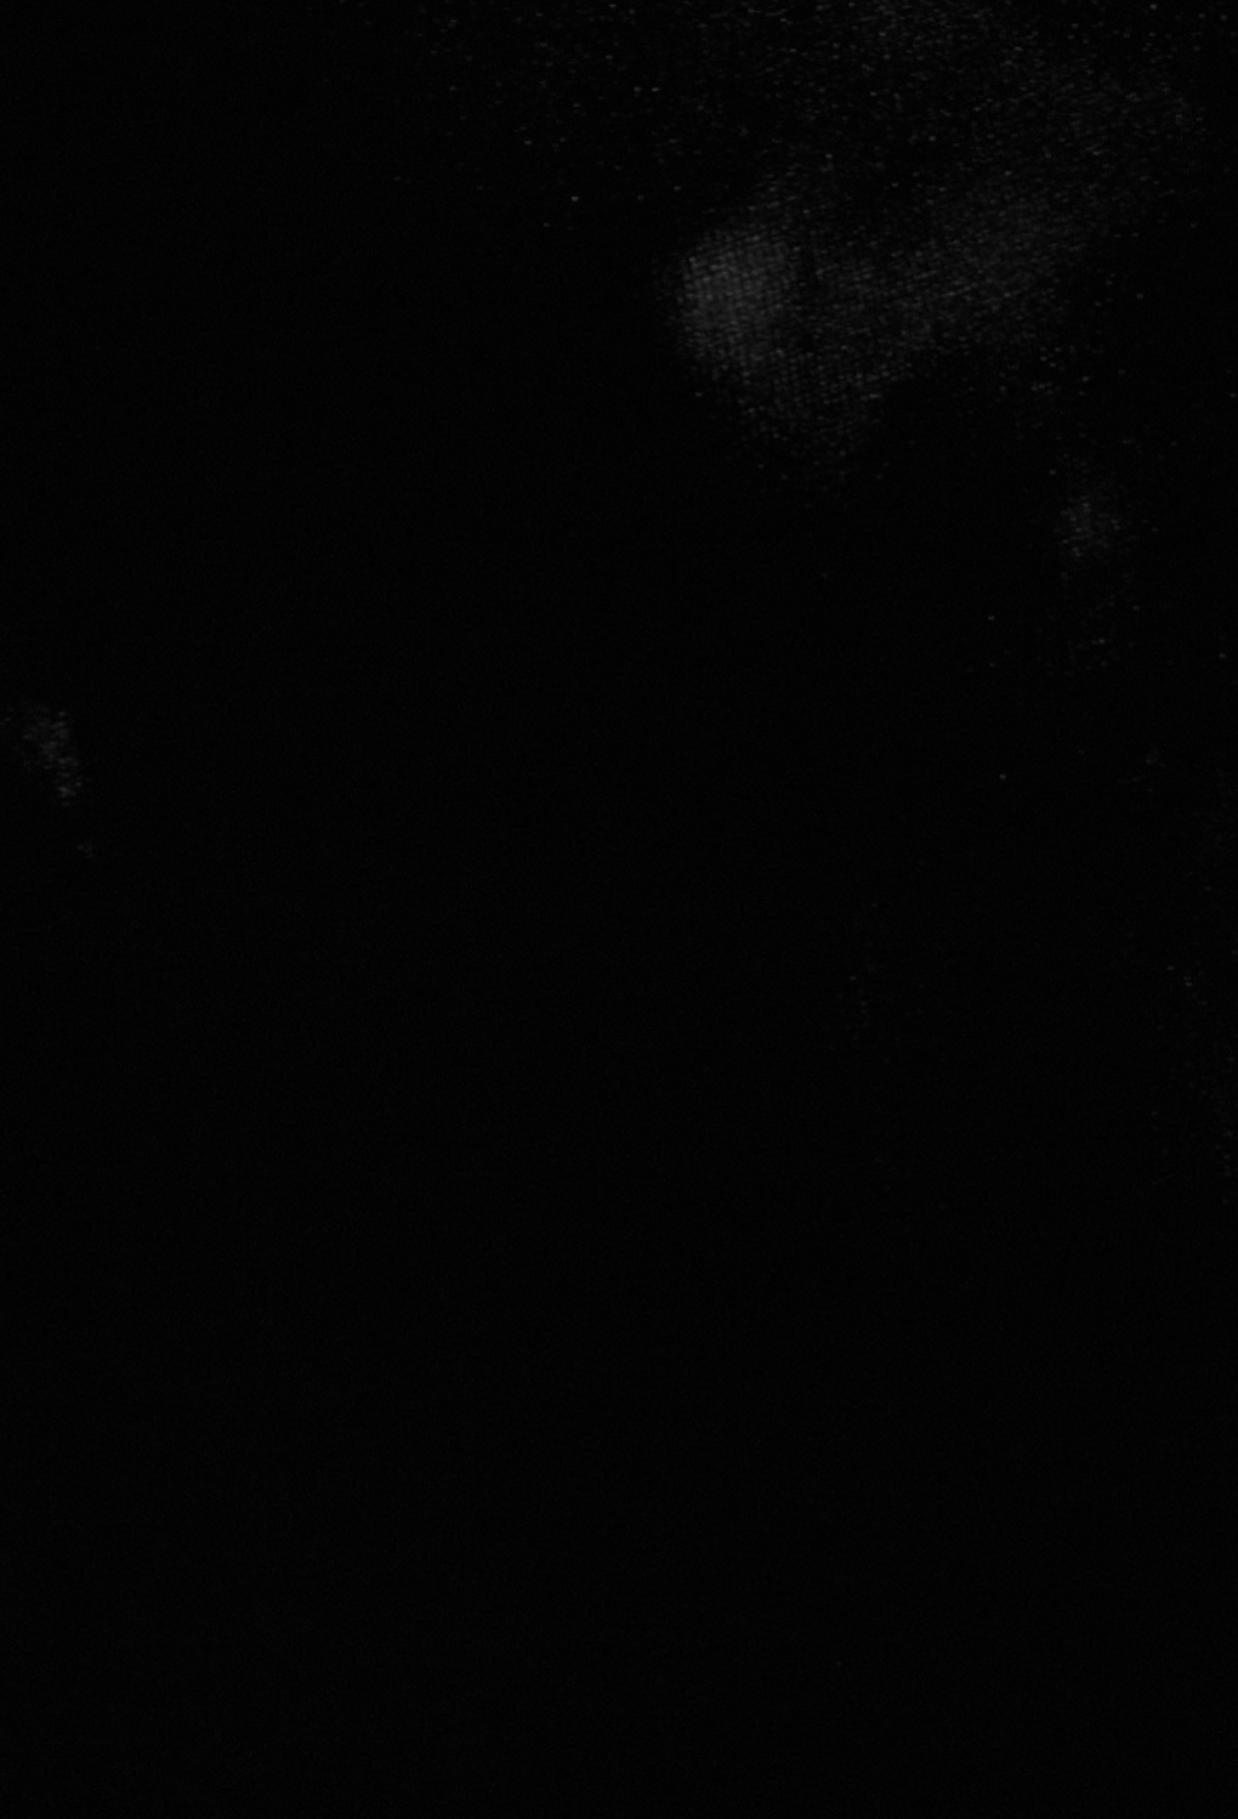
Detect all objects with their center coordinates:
river: (1199, 110)

